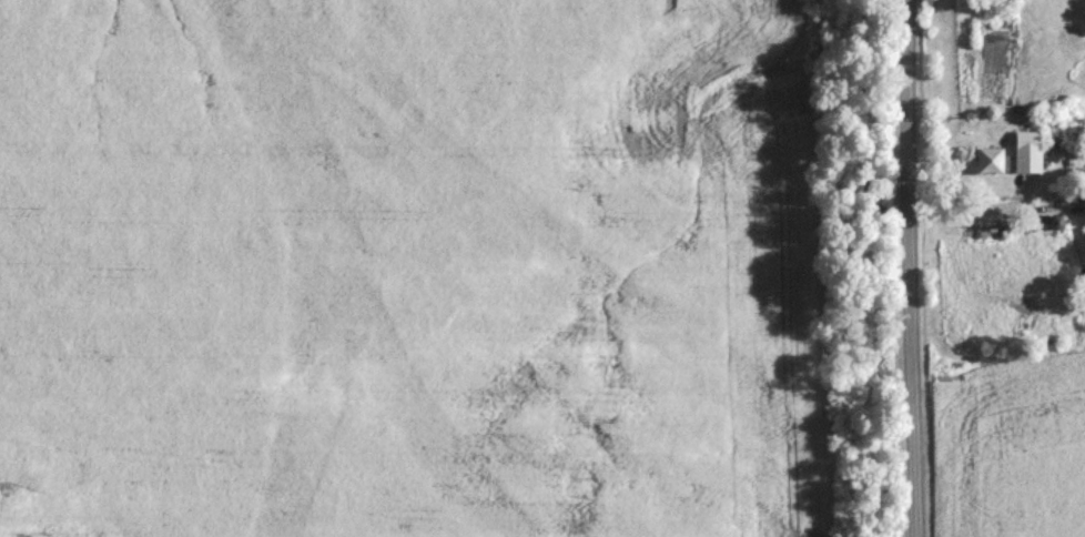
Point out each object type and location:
building: (1026, 153)
building: (990, 162)
road: (910, 267)

